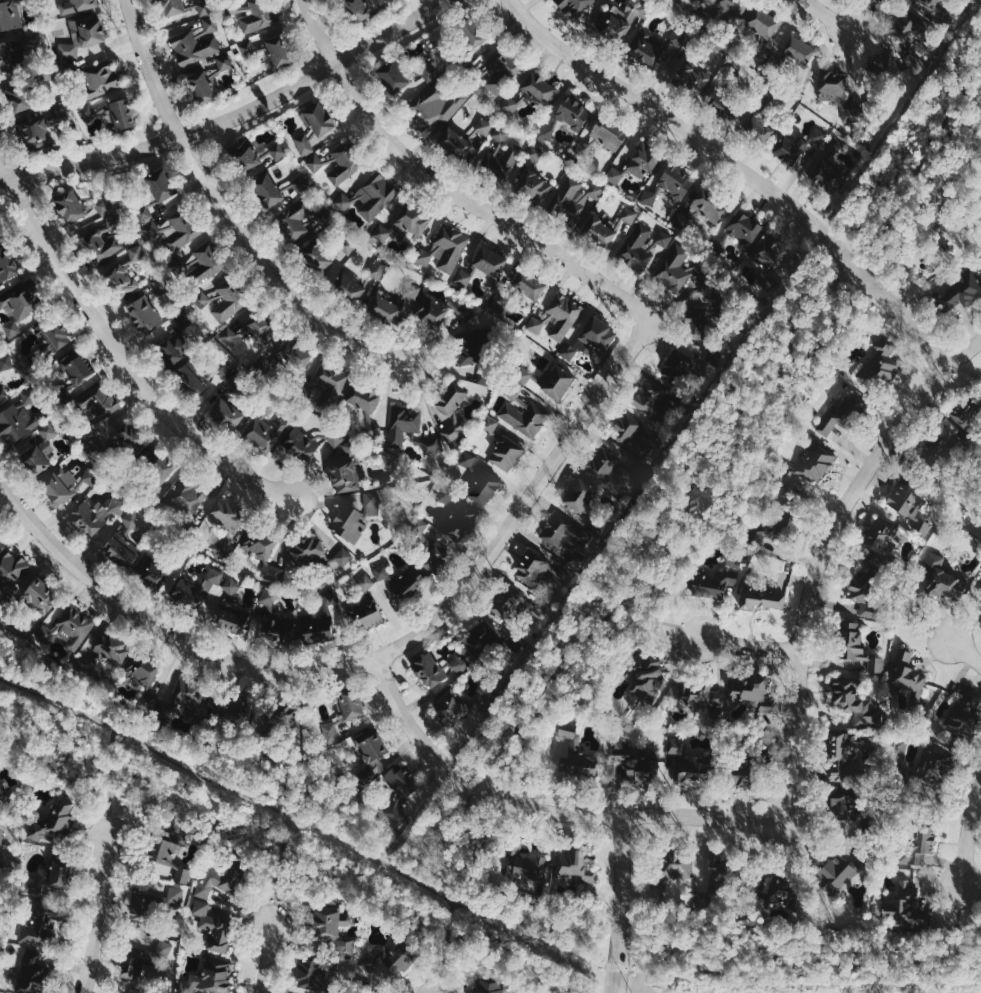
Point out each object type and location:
building: (927, 4)
building: (75, 6)
building: (172, 7)
building: (577, 7)
building: (733, 7)
building: (201, 8)
building: (357, 10)
road: (829, 13)
road: (858, 13)
building: (10, 16)
building: (257, 16)
building: (623, 20)
building: (763, 25)
building: (913, 25)
building: (471, 36)
building: (197, 43)
building: (648, 49)
building: (799, 51)
building: (277, 52)
building: (8, 57)
building: (893, 66)
building: (429, 70)
building: (500, 72)
building: (392, 77)
building: (691, 79)
building: (99, 80)
building: (208, 80)
building: (832, 86)
building: (539, 88)
building: (716, 100)
building: (18, 103)
building: (510, 105)
building: (438, 107)
building: (567, 110)
road: (235, 112)
building: (109, 114)
building: (755, 123)
building: (315, 128)
building: (482, 130)
building: (607, 134)
building: (35, 135)
building: (818, 136)
building: (455, 143)
building: (789, 150)
building: (502, 154)
building: (535, 154)
building: (255, 155)
building: (643, 160)
building: (315, 163)
building: (343, 165)
road: (743, 167)
building: (831, 167)
building: (614, 175)
building: (676, 180)
building: (159, 186)
road: (450, 186)
building: (536, 187)
building: (267, 190)
building: (577, 195)
building: (376, 196)
building: (649, 197)
building: (343, 201)
building: (102, 205)
building: (70, 207)
building: (707, 207)
road: (232, 209)
building: (145, 213)
building: (295, 220)
building: (414, 220)
building: (611, 226)
building: (744, 227)
building: (173, 232)
building: (386, 232)
building: (105, 241)
building: (645, 246)
building: (445, 250)
building: (770, 251)
building: (138, 252)
building: (318, 256)
building: (6, 264)
building: (203, 265)
building: (482, 265)
building: (377, 269)
building: (676, 270)
building: (121, 280)
building: (530, 285)
building: (351, 287)
building: (961, 291)
building: (410, 295)
building: (223, 302)
building: (19, 309)
building: (385, 309)
building: (143, 312)
building: (447, 313)
building: (564, 315)
building: (695, 322)
building: (536, 324)
building: (246, 332)
building: (54, 335)
building: (591, 338)
building: (172, 349)
building: (467, 351)
road: (120, 352)
building: (294, 354)
building: (884, 361)
building: (6, 362)
building: (77, 366)
building: (681, 367)
building: (187, 373)
building: (523, 374)
building: (333, 381)
building: (556, 381)
building: (513, 390)
building: (303, 393)
building: (2, 394)
building: (653, 399)
building: (99, 403)
building: (367, 408)
building: (227, 413)
building: (843, 414)
building: (963, 414)
building: (456, 417)
building: (525, 418)
building: (17, 419)
building: (403, 423)
building: (491, 424)
building: (267, 432)
building: (630, 433)
building: (336, 437)
building: (130, 439)
building: (301, 443)
building: (436, 446)
building: (40, 449)
building: (506, 453)
building: (468, 459)
building: (158, 464)
building: (807, 467)
building: (607, 468)
building: (345, 469)
road: (705, 479)
building: (485, 488)
building: (580, 495)
road: (528, 497)
building: (189, 499)
building: (906, 508)
building: (227, 514)
building: (355, 514)
building: (95, 515)
building: (457, 519)
building: (792, 522)
building: (0, 530)
building: (565, 532)
building: (764, 539)
building: (123, 542)
building: (880, 542)
building: (223, 546)
building: (427, 548)
building: (307, 550)
building: (267, 555)
road: (821, 556)
building: (342, 557)
building: (532, 568)
building: (12, 569)
building: (381, 572)
building: (154, 574)
building: (941, 578)
building: (366, 582)
building: (716, 582)
building: (408, 584)
building: (231, 585)
building: (196, 591)
building: (863, 595)
building: (37, 596)
building: (763, 597)
building: (980, 600)
building: (508, 602)
building: (366, 614)
building: (230, 619)
building: (272, 619)
building: (67, 629)
road: (165, 629)
building: (315, 629)
building: (484, 634)
road: (750, 642)
building: (107, 646)
building: (856, 647)
road: (966, 654)
building: (435, 669)
building: (647, 676)
building: (910, 676)
building: (142, 677)
building: (749, 693)
building: (702, 696)
building: (190, 699)
building: (856, 703)
building: (348, 704)
building: (450, 709)
building: (234, 710)
building: (286, 714)
building: (965, 714)
building: (568, 730)
building: (331, 732)
building: (372, 746)
building: (842, 758)
building: (377, 765)
building: (576, 765)
building: (633, 765)
building: (931, 772)
building: (689, 776)
building: (735, 776)
building: (401, 779)
road: (108, 782)
building: (0, 792)
building: (840, 805)
road: (549, 808)
building: (396, 813)
building: (53, 824)
road: (968, 833)
building: (922, 844)
building: (166, 846)
building: (522, 866)
building: (677, 866)
road: (276, 869)
building: (574, 871)
building: (835, 874)
building: (183, 875)
building: (48, 877)
building: (217, 887)
building: (780, 891)
building: (159, 903)
road: (620, 904)
road: (473, 908)
building: (904, 909)
road: (96, 916)
road: (957, 917)
building: (214, 927)
building: (329, 927)
building: (46, 933)
road: (444, 948)
road: (269, 958)
building: (133, 967)
building: (383, 967)
building: (312, 974)
building: (211, 977)
road: (880, 977)
building: (30, 986)
building: (490, 986)

